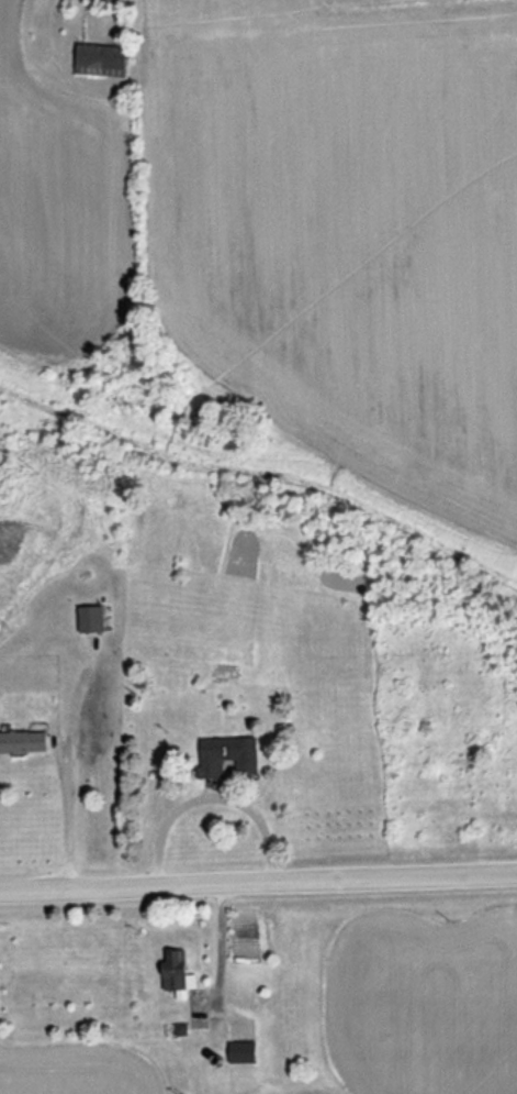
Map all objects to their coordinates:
building: (97, 60)
building: (85, 620)
building: (20, 743)
building: (224, 756)
road: (61, 813)
road: (258, 886)
road: (215, 955)
building: (172, 974)
building: (238, 1054)

